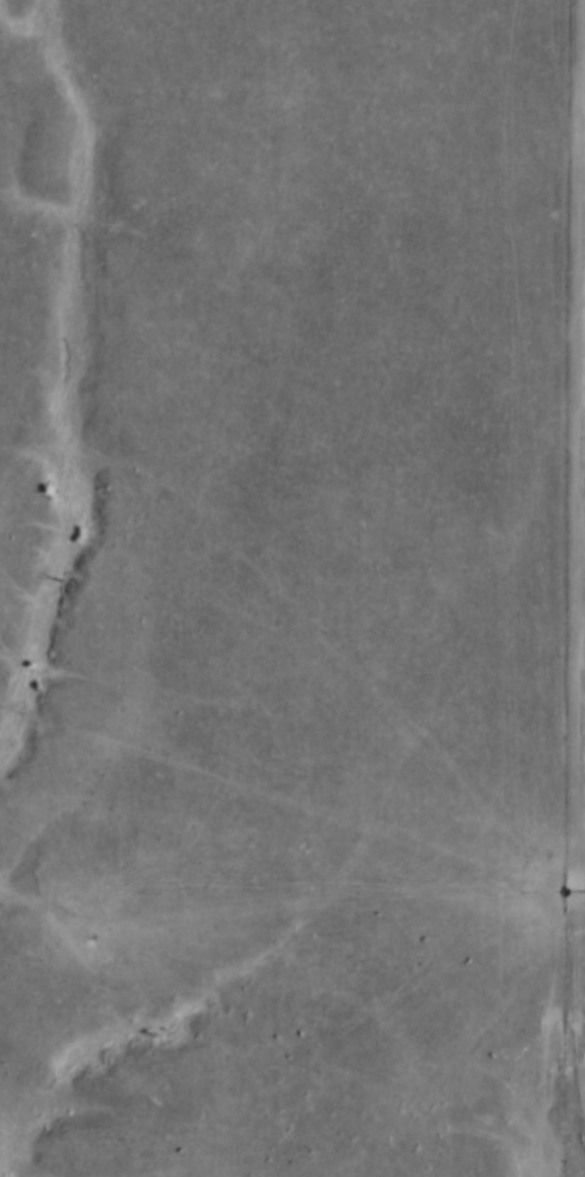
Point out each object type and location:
road: (275, 1022)
road: (567, 1151)

